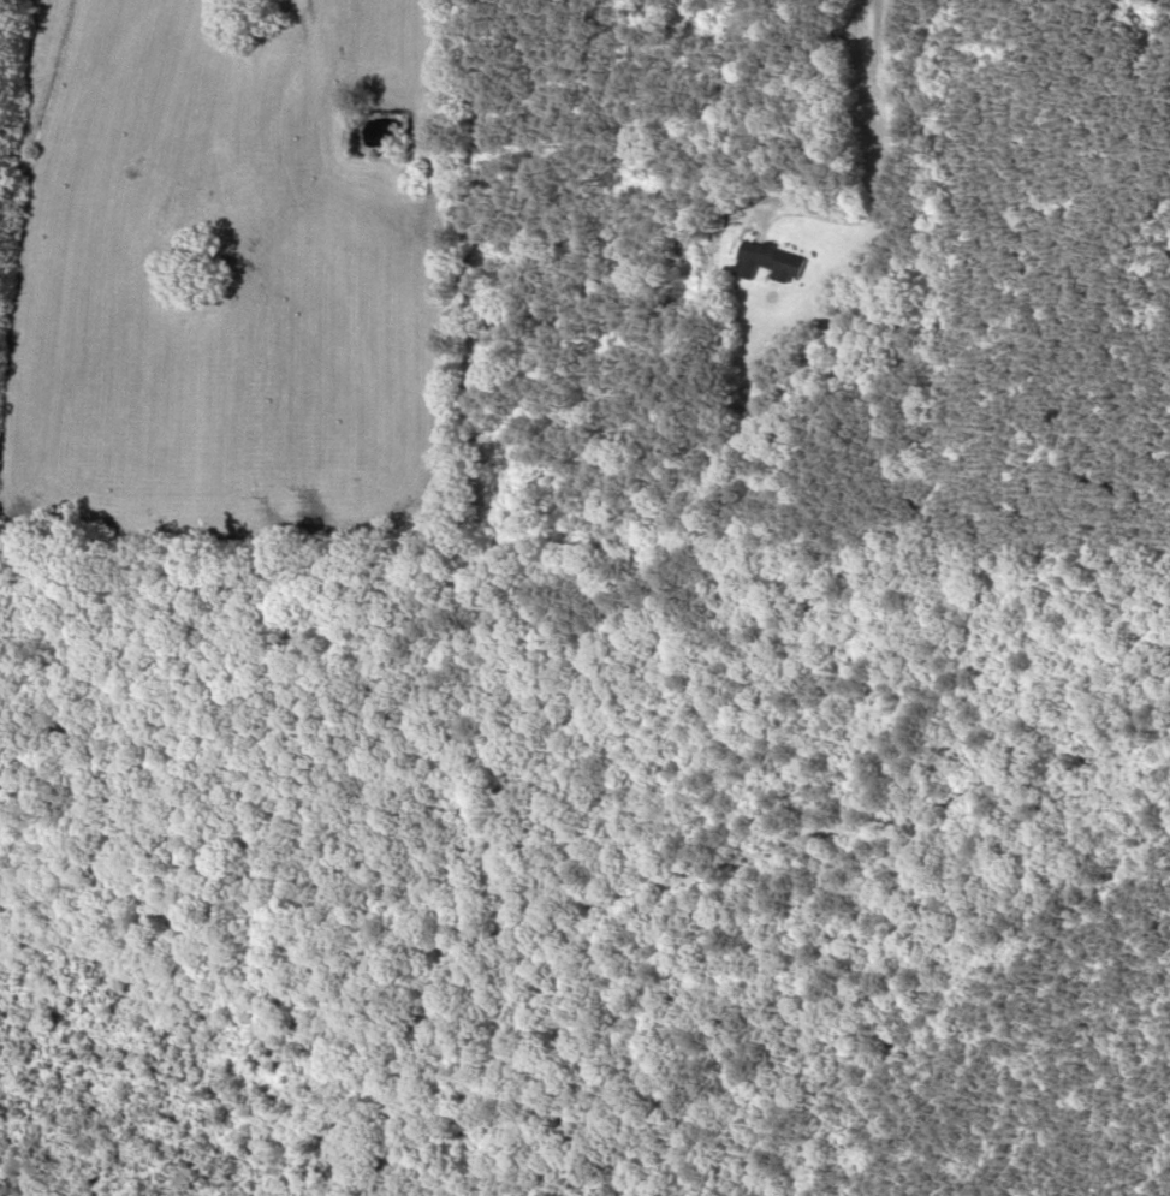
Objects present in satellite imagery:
road: (1154, 50)
building: (767, 261)
road: (1076, 498)

